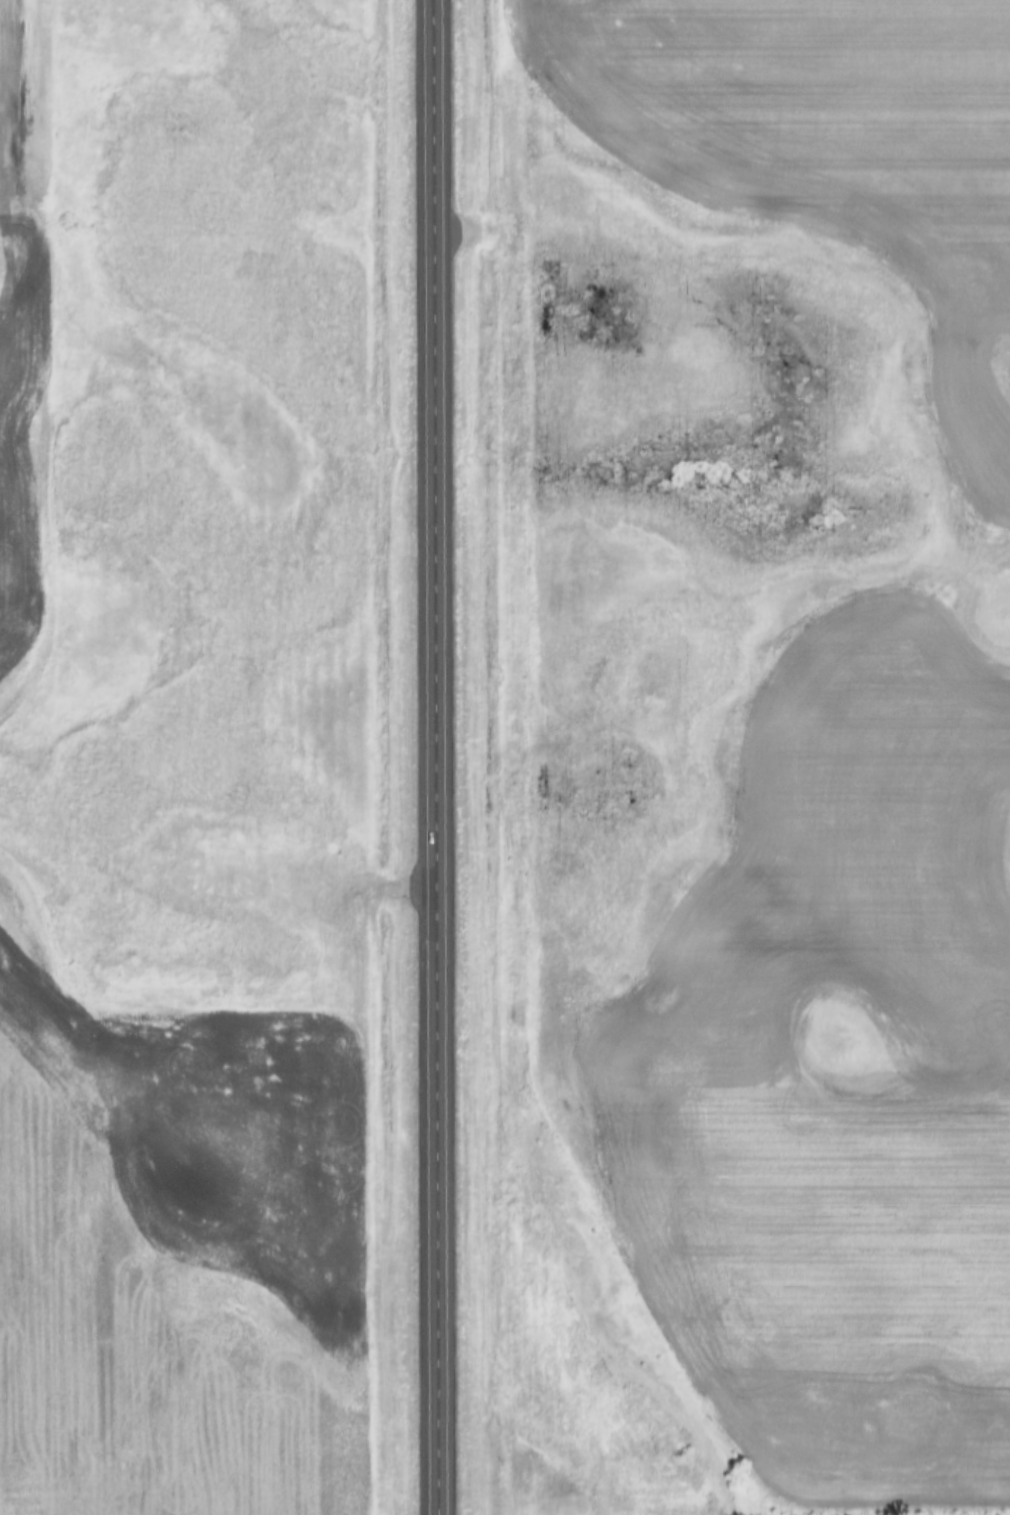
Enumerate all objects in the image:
road: (452, 757)

